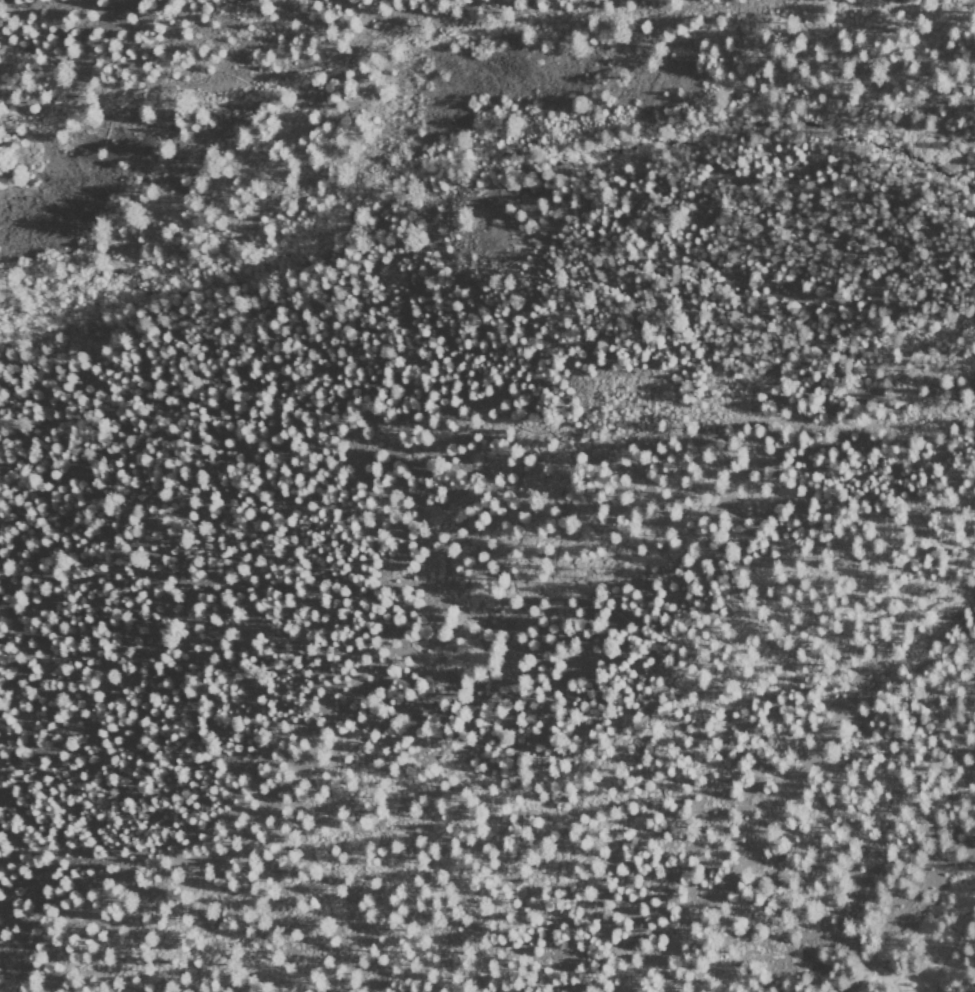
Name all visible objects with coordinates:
road: (286, 409)
road: (836, 425)
road: (577, 751)
road: (910, 896)

